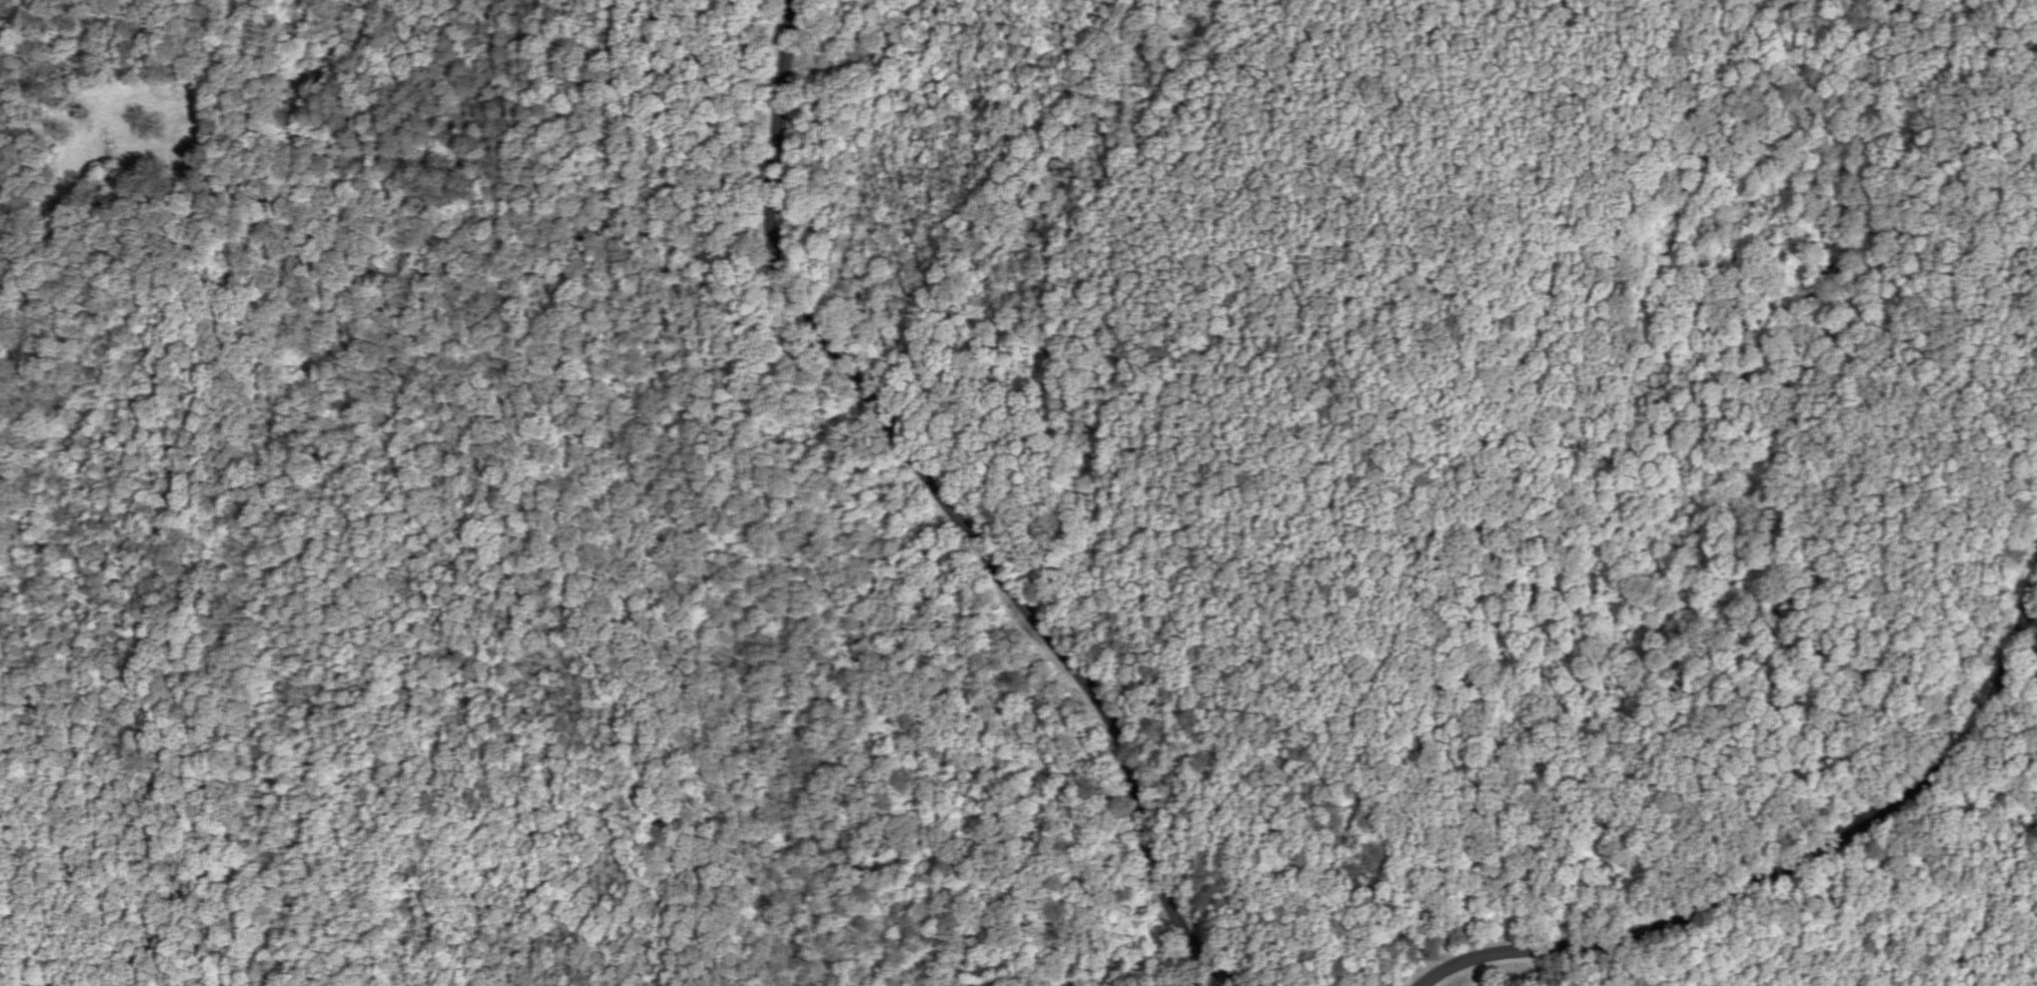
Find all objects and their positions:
road: (898, 41)
road: (951, 508)
road: (46, 629)
road: (406, 837)
road: (1786, 870)
road: (24, 931)

